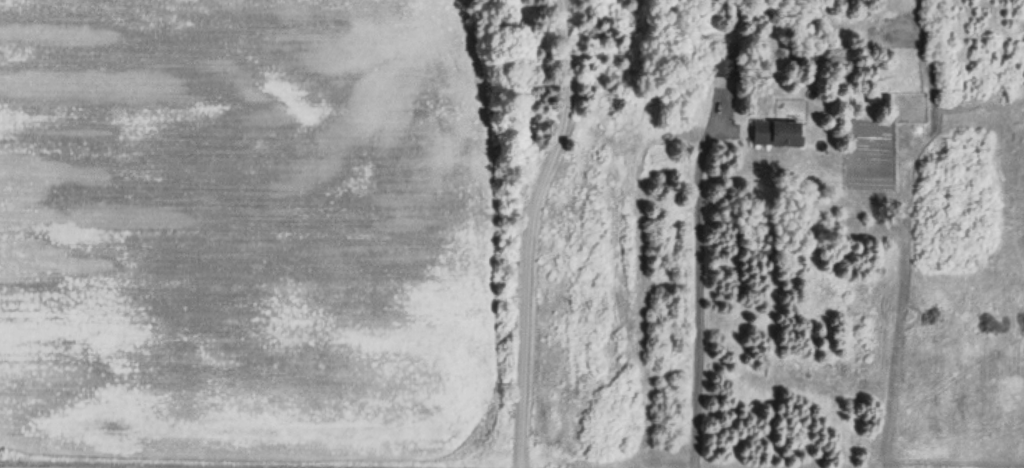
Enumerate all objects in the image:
building: (803, 54)
building: (722, 64)
building: (776, 135)

